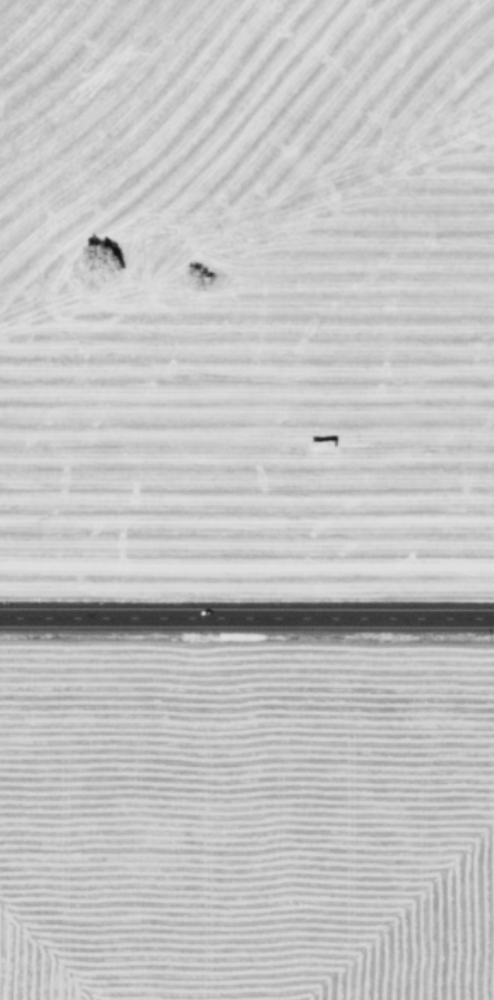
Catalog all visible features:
crop: (247, 264)
road: (246, 616)
crop: (246, 854)

